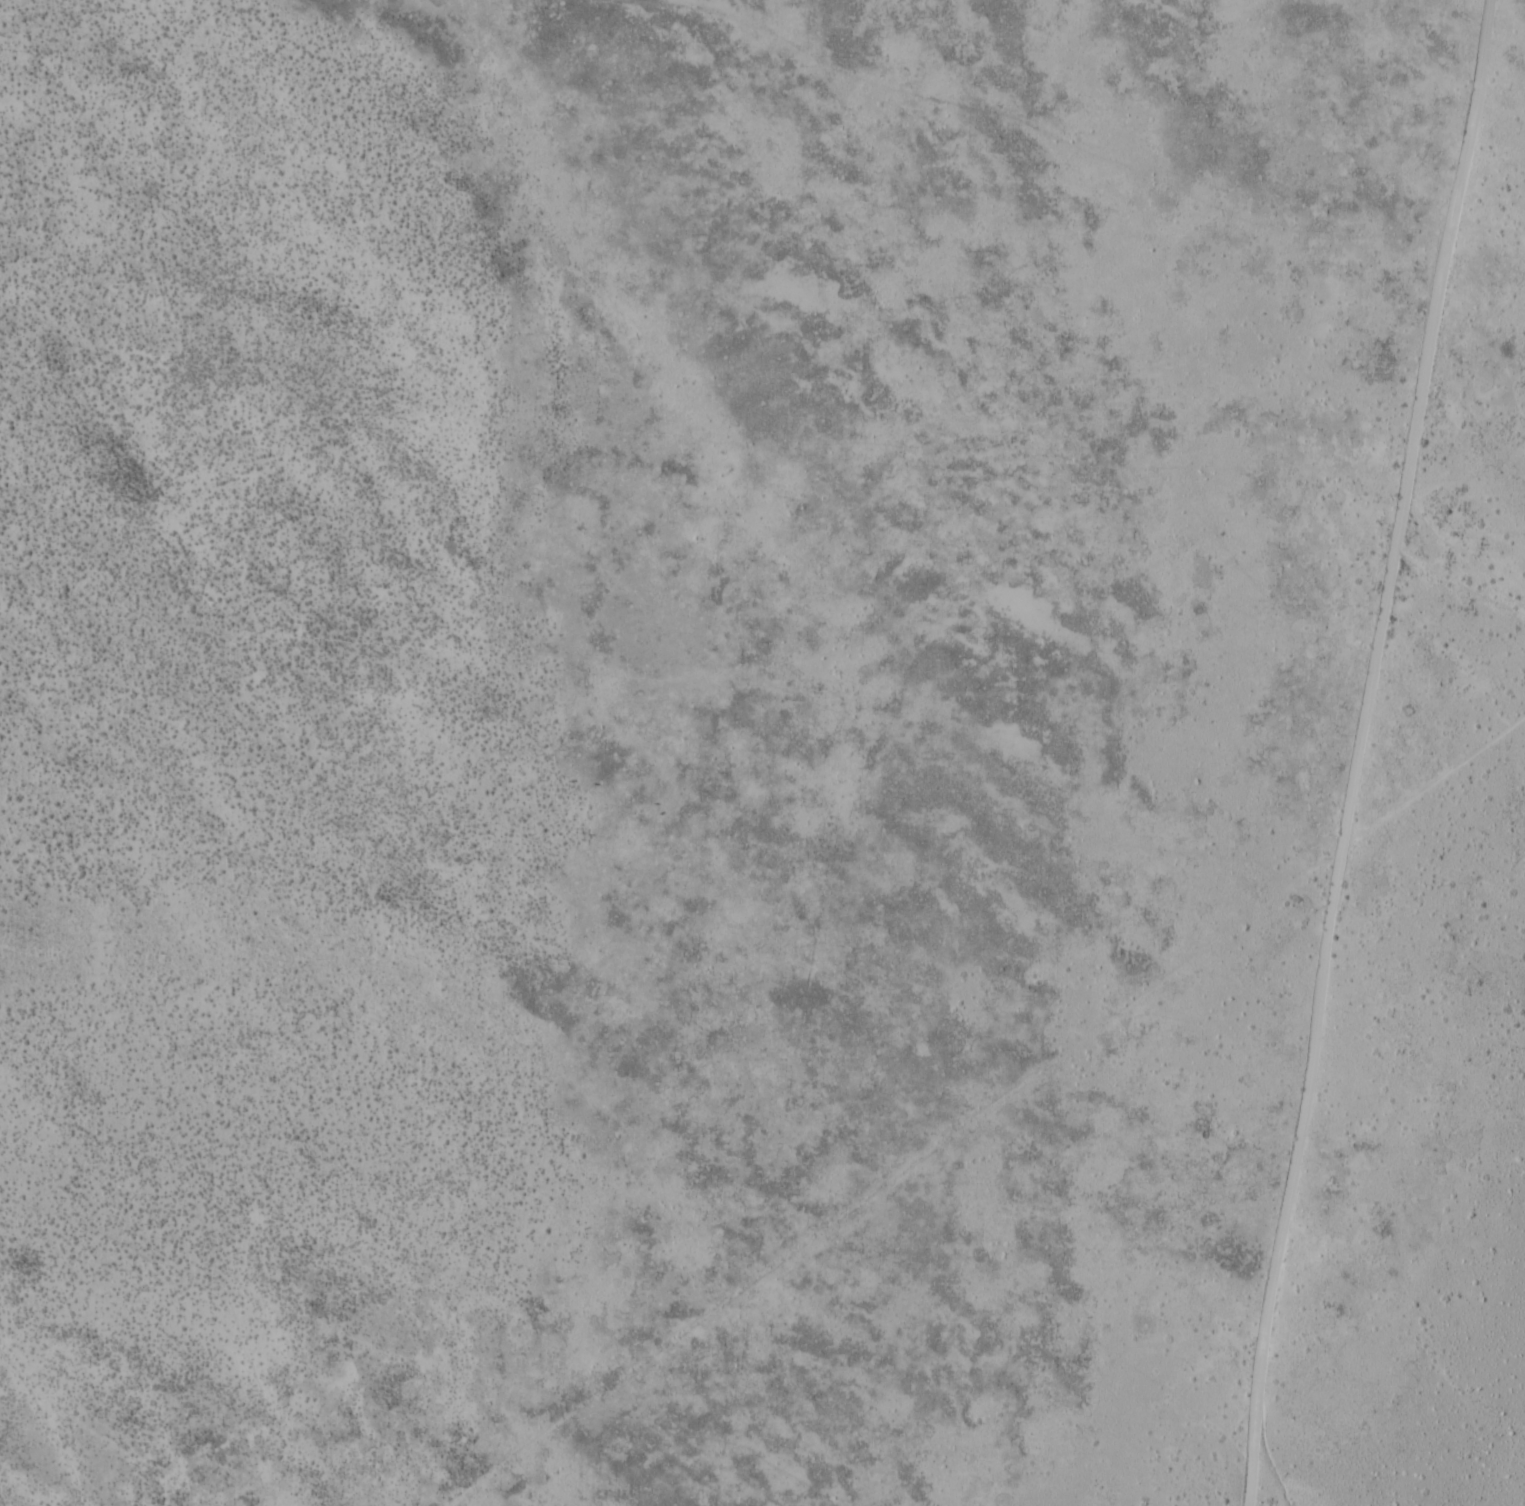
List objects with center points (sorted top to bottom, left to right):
road: (1329, 755)

